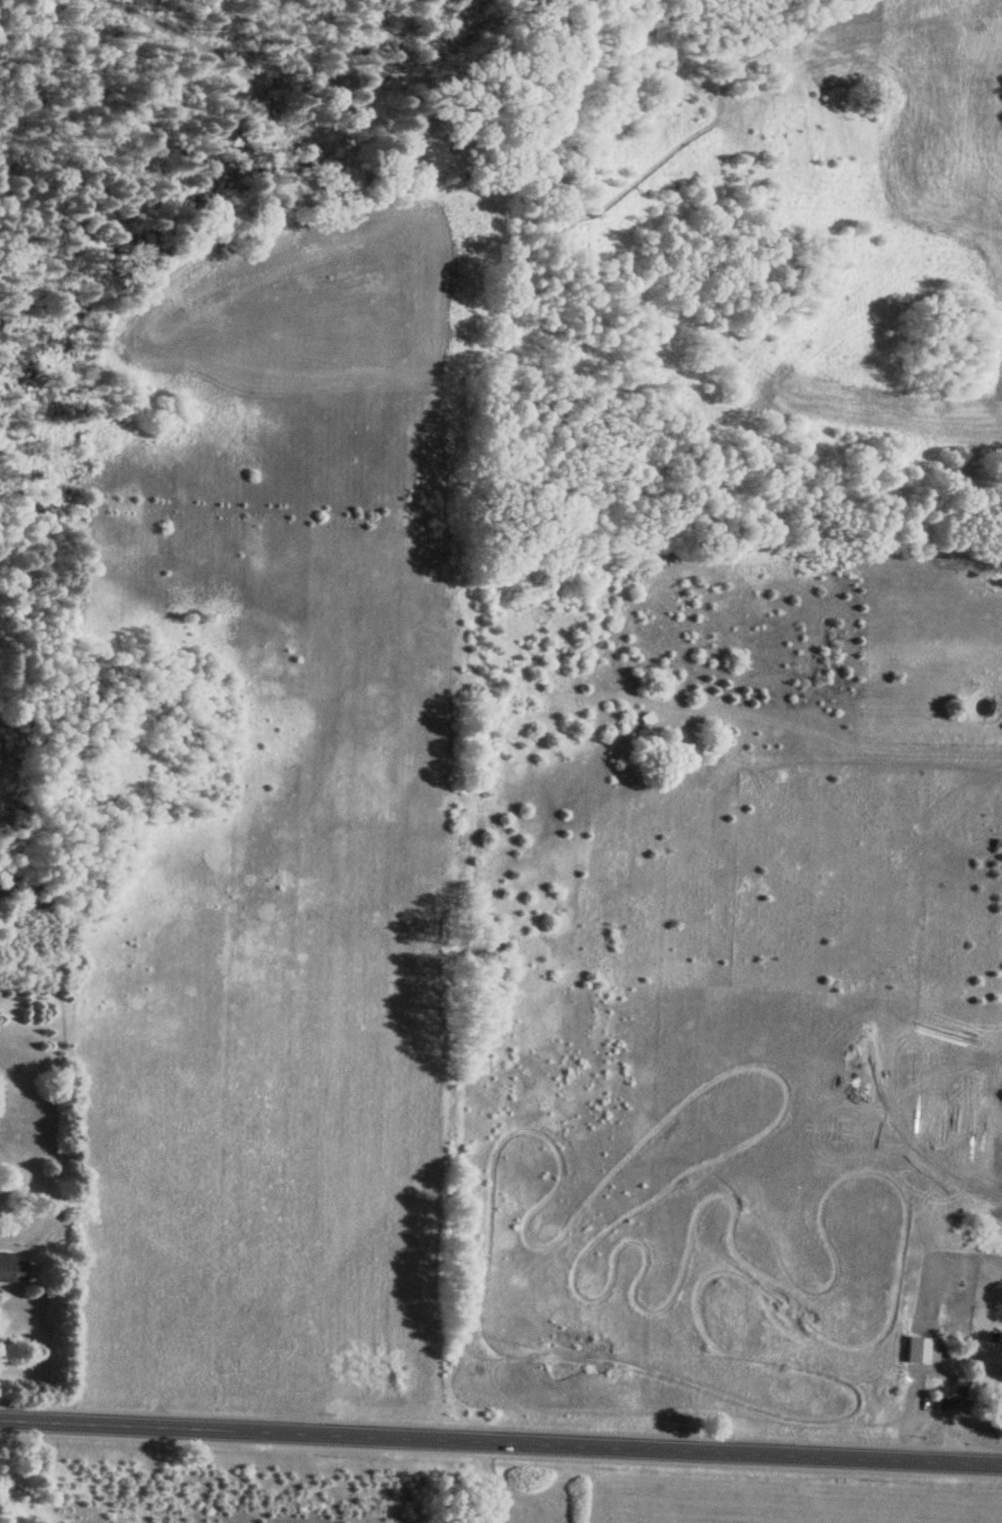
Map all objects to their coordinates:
building: (10, 1270)
building: (918, 1350)
building: (978, 1384)
road: (500, 1441)

